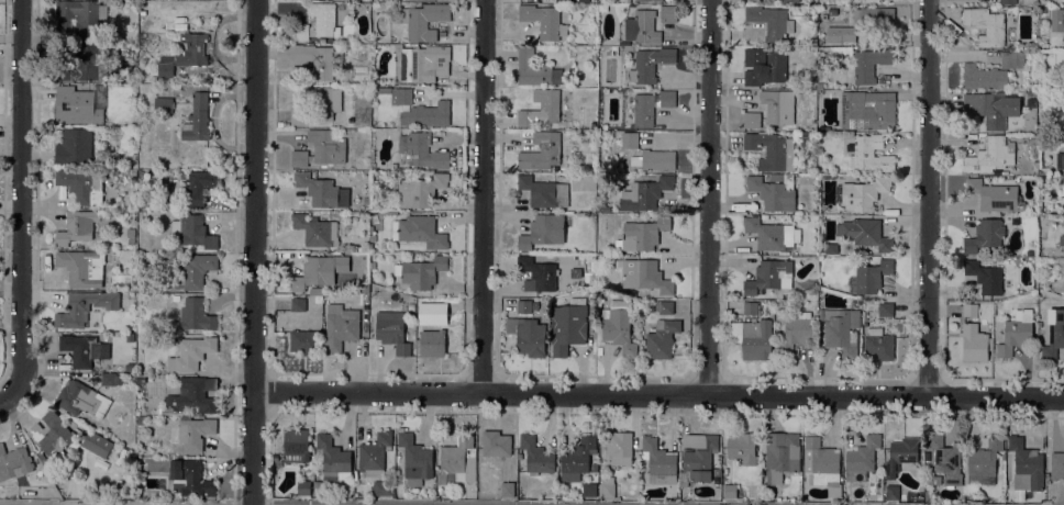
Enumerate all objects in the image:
building: (649, 0)
building: (790, 0)
building: (864, 1)
building: (1008, 1)
building: (668, 13)
building: (84, 14)
building: (874, 16)
building: (1056, 19)
building: (424, 20)
building: (542, 20)
building: (318, 22)
building: (771, 22)
building: (986, 25)
building: (642, 27)
building: (847, 34)
building: (193, 48)
building: (1012, 59)
building: (314, 61)
building: (423, 61)
building: (87, 63)
building: (871, 63)
building: (650, 64)
building: (764, 65)
building: (165, 66)
building: (535, 69)
building: (984, 77)
building: (401, 96)
building: (547, 103)
building: (163, 104)
building: (318, 104)
building: (76, 105)
building: (651, 105)
building: (991, 106)
building: (769, 110)
building: (868, 110)
building: (426, 114)
building: (198, 117)
building: (524, 117)
building: (1063, 119)
building: (630, 139)
building: (75, 146)
building: (320, 148)
building: (769, 148)
building: (420, 150)
building: (542, 150)
building: (872, 153)
building: (990, 155)
building: (654, 159)
building: (1060, 159)
building: (80, 186)
building: (197, 187)
building: (421, 189)
building: (322, 190)
building: (544, 191)
building: (774, 191)
building: (645, 193)
building: (862, 193)
road: (20, 195)
building: (993, 195)
road: (484, 197)
road: (711, 198)
road: (929, 198)
building: (606, 209)
building: (764, 217)
road: (36, 222)
building: (77, 226)
building: (315, 229)
building: (192, 231)
building: (419, 231)
building: (543, 231)
building: (642, 233)
building: (865, 233)
building: (773, 234)
building: (130, 235)
building: (985, 235)
building: (1062, 240)
building: (1063, 244)
building: (831, 247)
road: (235, 252)
road: (253, 252)
building: (1029, 252)
building: (126, 257)
building: (81, 267)
building: (193, 269)
building: (421, 271)
building: (315, 272)
building: (1049, 272)
building: (537, 273)
building: (644, 274)
building: (769, 276)
building: (872, 276)
building: (984, 276)
building: (364, 288)
building: (599, 288)
building: (176, 298)
building: (318, 299)
building: (420, 300)
building: (577, 300)
building: (298, 303)
building: (440, 305)
building: (523, 305)
building: (650, 305)
building: (84, 306)
building: (410, 306)
building: (664, 306)
building: (750, 307)
building: (885, 308)
building: (969, 310)
building: (196, 314)
building: (341, 326)
building: (619, 326)
building: (390, 327)
building: (567, 327)
building: (841, 330)
building: (1016, 330)
building: (796, 332)
building: (1054, 333)
building: (530, 336)
building: (754, 337)
building: (662, 338)
building: (975, 340)
building: (304, 341)
building: (432, 343)
building: (878, 344)
building: (84, 349)
building: (190, 352)
building: (130, 367)
building: (140, 377)
building: (111, 378)
building: (195, 393)
road: (7, 394)
road: (657, 394)
building: (81, 399)
building: (142, 419)
building: (191, 431)
building: (52, 435)
building: (496, 442)
building: (97, 444)
building: (296, 445)
building: (619, 447)
building: (742, 447)
building: (374, 453)
building: (536, 453)
building: (780, 454)
building: (699, 456)
building: (901, 456)
building: (455, 457)
building: (43, 458)
building: (334, 458)
building: (577, 458)
building: (861, 458)
building: (415, 459)
building: (946, 459)
building: (658, 461)
building: (13, 462)
building: (984, 462)
building: (821, 463)
building: (1027, 463)
building: (1056, 464)
building: (714, 471)
building: (53, 473)
building: (929, 476)
building: (190, 478)
building: (303, 486)
building: (317, 486)
building: (607, 486)
building: (384, 487)
building: (507, 489)
building: (589, 490)
building: (730, 490)
building: (893, 491)
building: (624, 497)
road: (323, 504)

